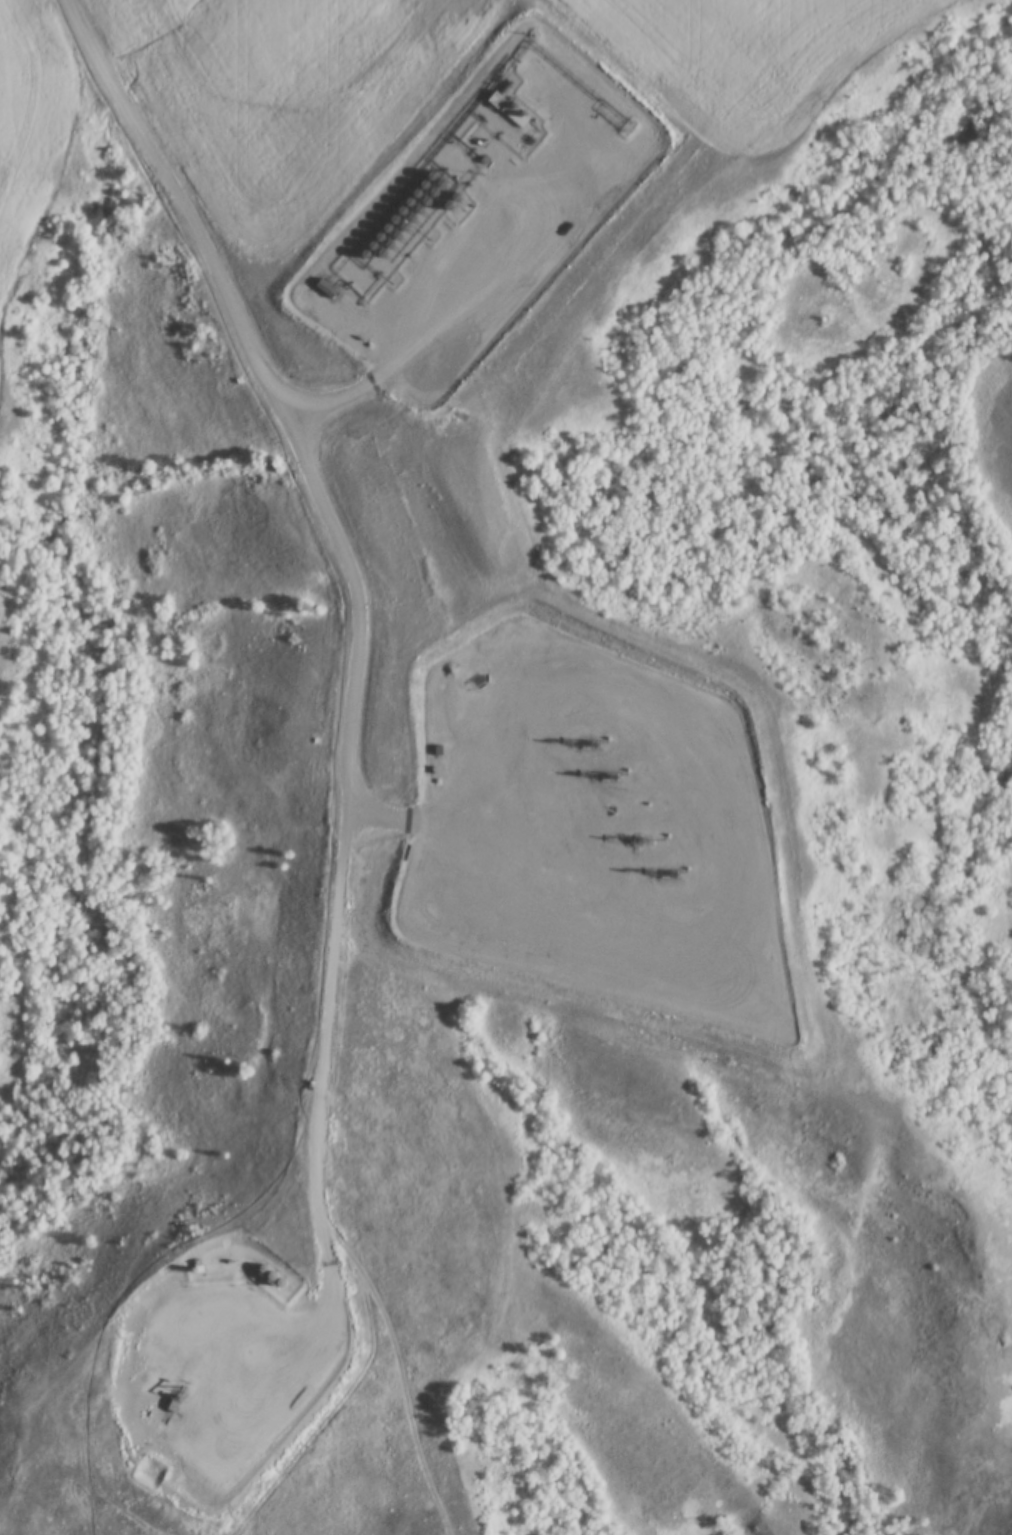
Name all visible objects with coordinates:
building: (427, 177)
storage tank: (427, 177)
building: (419, 186)
storage tank: (419, 186)
building: (436, 186)
storage tank: (436, 186)
building: (411, 195)
storage tank: (411, 195)
building: (428, 195)
storage tank: (428, 195)
building: (450, 199)
storage tank: (450, 199)
building: (404, 203)
storage tank: (404, 203)
building: (419, 204)
storage tank: (419, 204)
building: (442, 208)
storage tank: (442, 208)
building: (395, 212)
storage tank: (395, 212)
building: (412, 213)
storage tank: (412, 213)
building: (388, 221)
storage tank: (388, 221)
building: (405, 222)
storage tank: (405, 222)
building: (381, 230)
storage tank: (381, 230)
building: (397, 230)
storage tank: (397, 230)
building: (373, 238)
storage tank: (373, 238)
building: (389, 239)
storage tank: (389, 239)
building: (366, 247)
storage tank: (366, 247)
building: (381, 247)
storage tank: (381, 247)
building: (360, 257)
storage tank: (360, 257)
road: (352, 715)
building: (257, 1272)
storage tank: (257, 1272)
building: (266, 1281)
storage tank: (266, 1281)
building: (274, 1288)
storage tank: (274, 1288)
petroleum well: (172, 1400)

